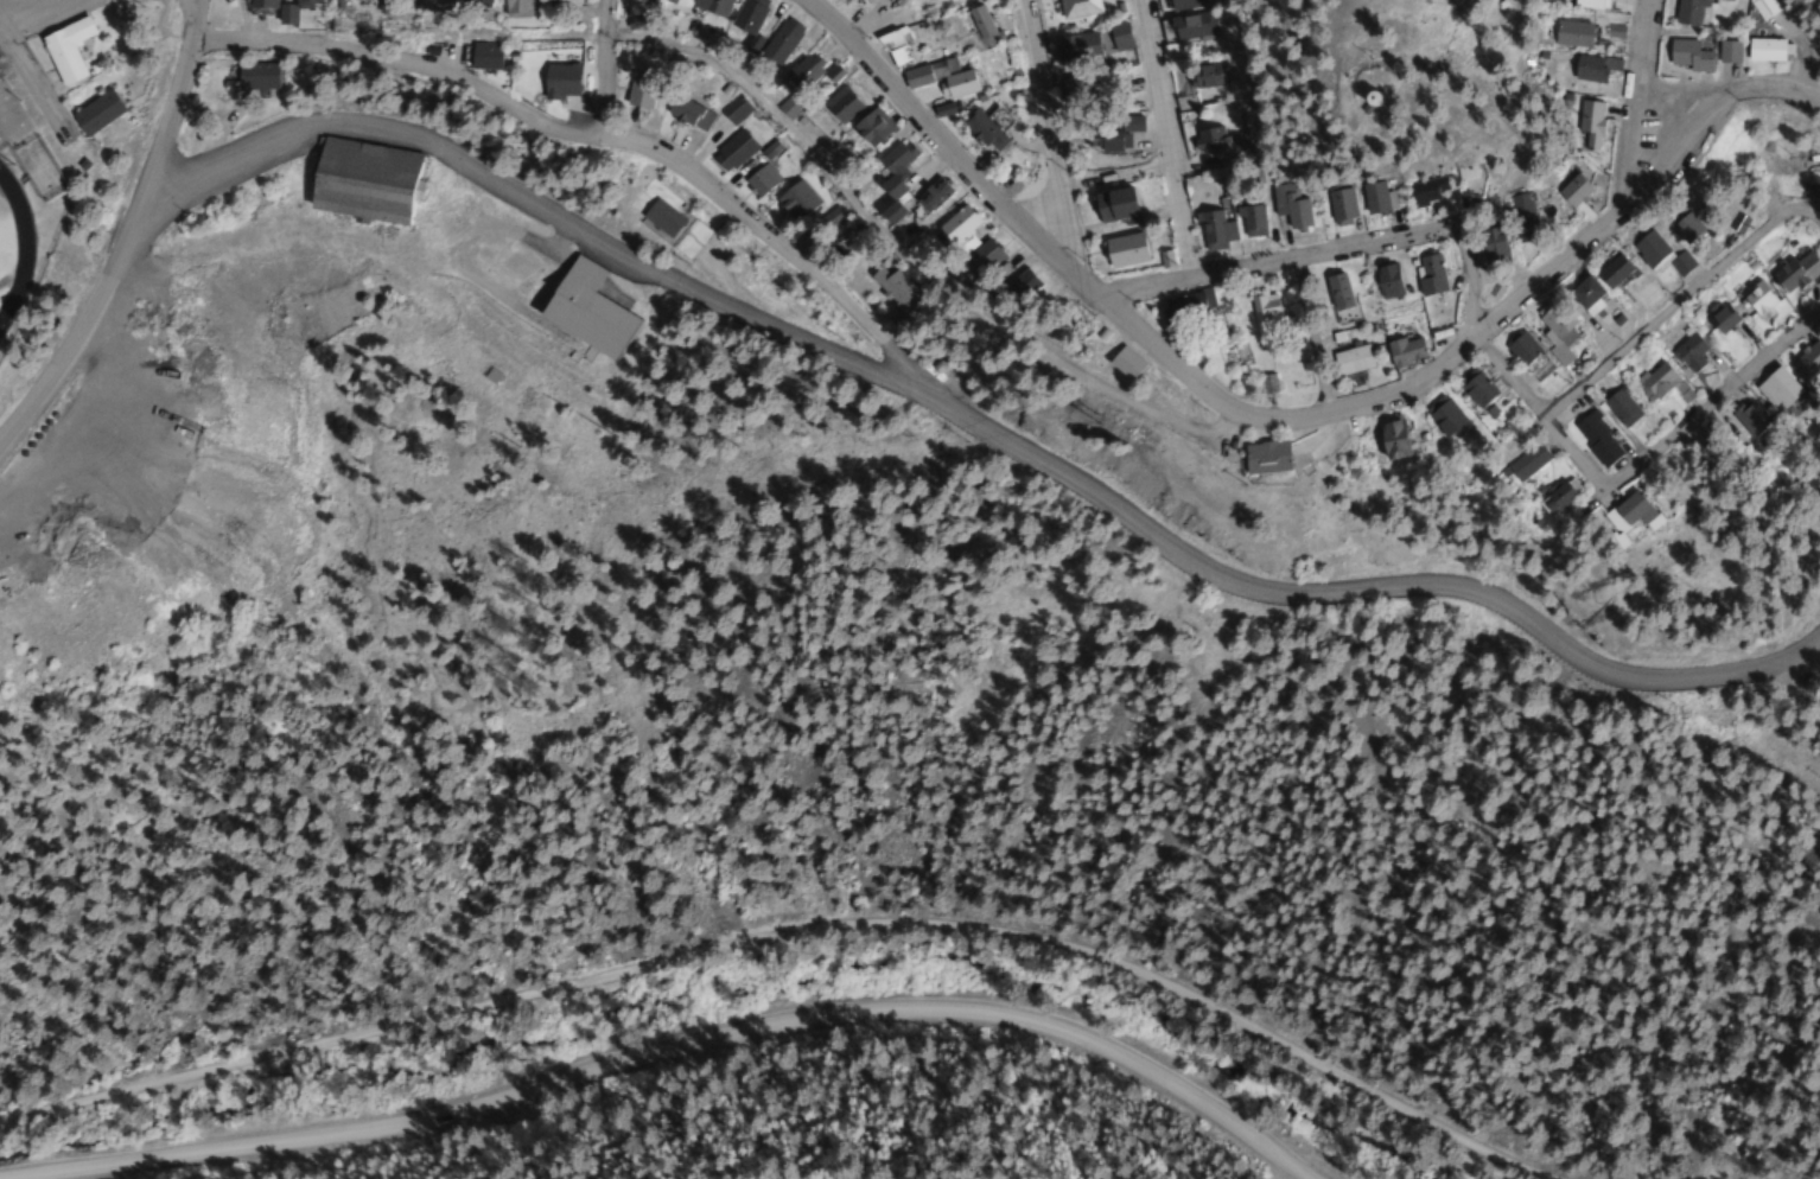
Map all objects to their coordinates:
building: (561, 2)
building: (259, 4)
building: (1182, 5)
building: (1589, 5)
building: (700, 6)
road: (37, 8)
building: (1078, 8)
building: (1761, 8)
building: (511, 9)
building: (291, 11)
building: (1688, 12)
building: (746, 17)
building: (979, 25)
building: (1191, 26)
building: (1571, 34)
building: (1120, 37)
building: (778, 42)
road: (320, 46)
building: (1077, 47)
building: (892, 49)
building: (64, 50)
building: (1762, 50)
building: (1725, 52)
building: (1687, 56)
building: (481, 57)
building: (1587, 70)
road: (603, 71)
building: (925, 72)
building: (800, 74)
building: (253, 76)
building: (1204, 77)
building: (954, 85)
building: (638, 90)
building: (1362, 100)
road: (1637, 100)
building: (839, 106)
building: (787, 108)
building: (733, 109)
building: (91, 113)
building: (687, 114)
road: (168, 115)
building: (1587, 126)
building: (868, 128)
building: (980, 130)
road: (1041, 130)
road: (1167, 136)
building: (1103, 139)
building: (1208, 139)
building: (769, 149)
building: (731, 152)
road: (689, 174)
building: (759, 179)
building: (890, 179)
building: (359, 181)
building: (1423, 191)
building: (1571, 191)
stadium: (20, 196)
building: (929, 196)
building: (1372, 198)
building: (795, 200)
road: (527, 202)
building: (1112, 205)
building: (1288, 206)
building: (1337, 206)
building: (1520, 217)
building: (660, 218)
building: (829, 219)
building: (1249, 221)
building: (1735, 223)
building: (953, 225)
building: (1684, 228)
building: (1214, 230)
track: (13, 241)
building: (1488, 244)
building: (1121, 250)
building: (1657, 254)
road: (1271, 256)
building: (976, 263)
building: (1610, 272)
building: (1794, 272)
building: (1427, 275)
building: (1386, 282)
building: (1017, 285)
building: (892, 288)
building: (1336, 292)
building: (1582, 293)
road: (1675, 299)
building: (1755, 299)
building: (581, 311)
building: (1178, 311)
building: (1262, 313)
building: (1720, 319)
building: (1554, 331)
road: (74, 339)
building: (1402, 351)
building: (1688, 353)
building: (1527, 357)
building: (1347, 359)
building: (1114, 364)
building: (1803, 364)
road: (1501, 368)
building: (1653, 381)
building: (1259, 385)
building: (1474, 388)
building: (1773, 390)
road: (1712, 401)
building: (1617, 408)
road: (1291, 410)
building: (1440, 419)
building: (1742, 421)
building: (1383, 440)
building: (1590, 441)
building: (1251, 460)
building: (1520, 464)
building: (1545, 501)
building: (1618, 516)
road: (1336, 589)
road: (793, 932)
road: (689, 1060)

